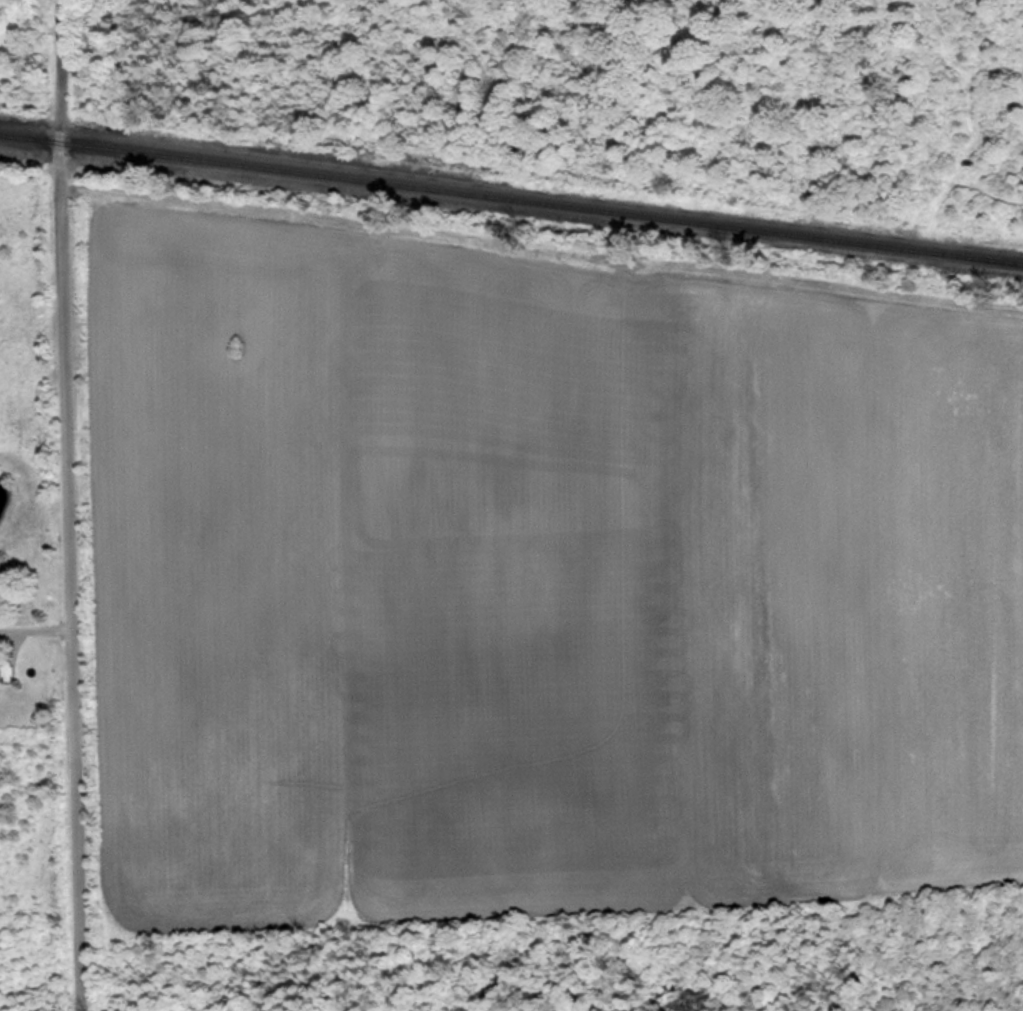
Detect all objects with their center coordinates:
railway: (511, 188)
road: (72, 505)
building: (1, 665)

